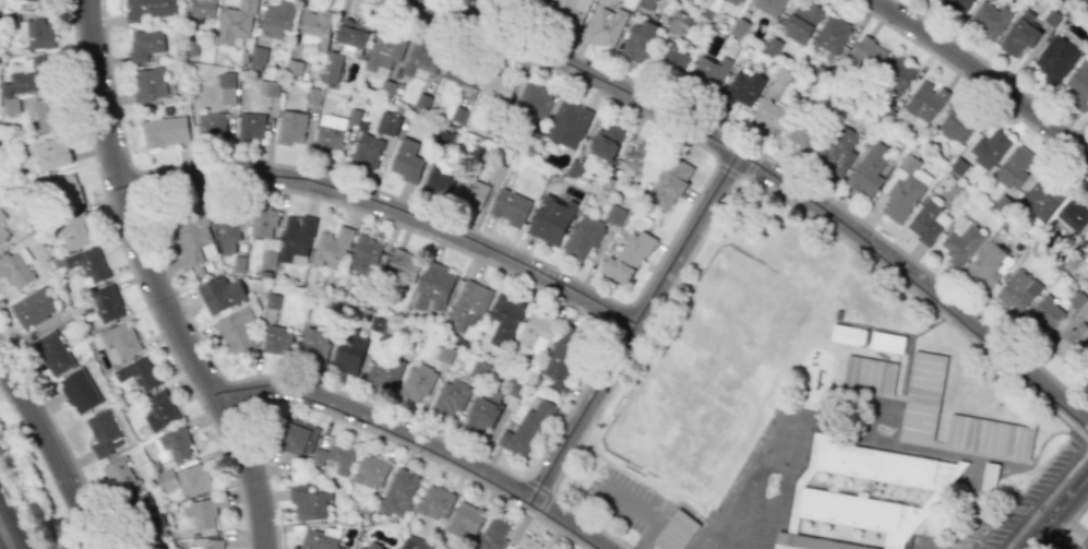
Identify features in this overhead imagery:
building: (506, 0)
building: (1087, 0)
building: (738, 1)
building: (535, 3)
building: (769, 5)
building: (956, 5)
building: (203, 8)
building: (148, 9)
building: (571, 9)
building: (276, 19)
building: (989, 20)
building: (801, 21)
building: (236, 22)
building: (681, 22)
building: (316, 26)
building: (607, 26)
building: (740, 27)
building: (354, 32)
building: (35, 34)
building: (832, 34)
building: (1019, 34)
building: (638, 40)
building: (145, 44)
building: (384, 51)
building: (868, 52)
building: (258, 58)
building: (421, 59)
building: (674, 59)
building: (1056, 59)
building: (294, 67)
building: (332, 68)
building: (709, 71)
building: (459, 73)
building: (896, 74)
building: (36, 75)
road: (981, 75)
building: (148, 83)
building: (1077, 84)
building: (227, 87)
building: (743, 87)
building: (268, 88)
building: (494, 89)
building: (534, 100)
building: (925, 100)
building: (10, 105)
building: (48, 114)
building: (456, 115)
building: (770, 117)
building: (957, 122)
building: (387, 123)
building: (569, 123)
building: (212, 126)
building: (251, 127)
building: (291, 128)
building: (801, 129)
building: (330, 131)
building: (163, 132)
building: (606, 141)
building: (839, 147)
building: (989, 147)
building: (367, 151)
building: (51, 154)
building: (637, 156)
building: (406, 160)
building: (1013, 167)
building: (868, 170)
road: (765, 174)
building: (440, 179)
building: (670, 183)
building: (904, 188)
building: (62, 192)
building: (471, 192)
building: (1041, 198)
road: (789, 202)
building: (510, 206)
road: (391, 210)
building: (614, 214)
building: (1074, 214)
building: (1, 216)
building: (551, 219)
building: (928, 223)
building: (75, 229)
building: (226, 229)
building: (265, 231)
building: (3, 236)
building: (584, 236)
building: (194, 237)
building: (296, 239)
building: (960, 242)
building: (1087, 242)
building: (331, 247)
building: (364, 254)
building: (627, 258)
building: (88, 263)
building: (402, 264)
building: (988, 266)
building: (16, 267)
road: (153, 283)
building: (434, 288)
building: (1016, 291)
building: (220, 294)
building: (1079, 302)
building: (107, 303)
building: (467, 306)
building: (32, 307)
building: (1044, 314)
building: (504, 319)
road: (639, 330)
building: (236, 331)
building: (536, 332)
building: (848, 335)
building: (277, 339)
building: (117, 342)
building: (1072, 342)
building: (887, 343)
building: (313, 345)
building: (52, 353)
building: (349, 354)
building: (564, 357)
building: (383, 372)
building: (138, 373)
building: (869, 375)
building: (1086, 378)
building: (417, 382)
building: (79, 391)
building: (922, 395)
building: (450, 398)
building: (483, 410)
building: (159, 411)
building: (526, 429)
building: (104, 433)
building: (298, 437)
building: (989, 438)
road: (422, 440)
building: (172, 445)
road: (52, 453)
building: (340, 456)
building: (318, 457)
building: (371, 470)
building: (120, 475)
building: (186, 480)
building: (399, 492)
building: (862, 498)
railway: (26, 501)
building: (220, 501)
building: (308, 502)
building: (434, 502)
building: (201, 513)
road: (646, 514)
road: (1060, 514)
building: (140, 516)
building: (465, 518)
railway: (11, 525)
building: (677, 532)
building: (492, 534)
building: (1086, 538)
building: (320, 539)
building: (411, 542)
building: (526, 542)
building: (207, 544)
building: (373, 546)
railway: (0, 547)
building: (164, 548)
building: (360, 548)

